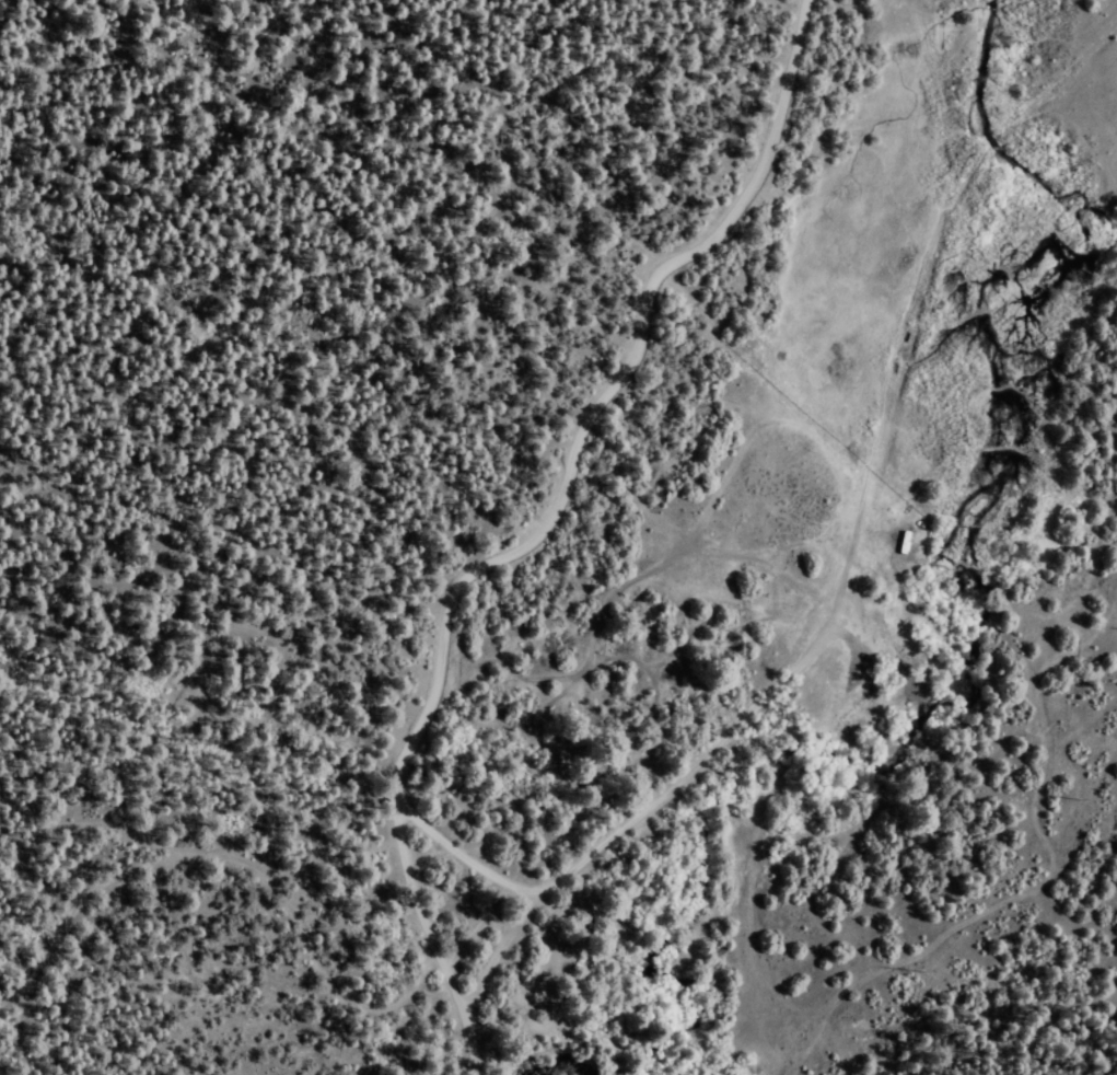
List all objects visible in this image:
road: (538, 532)

